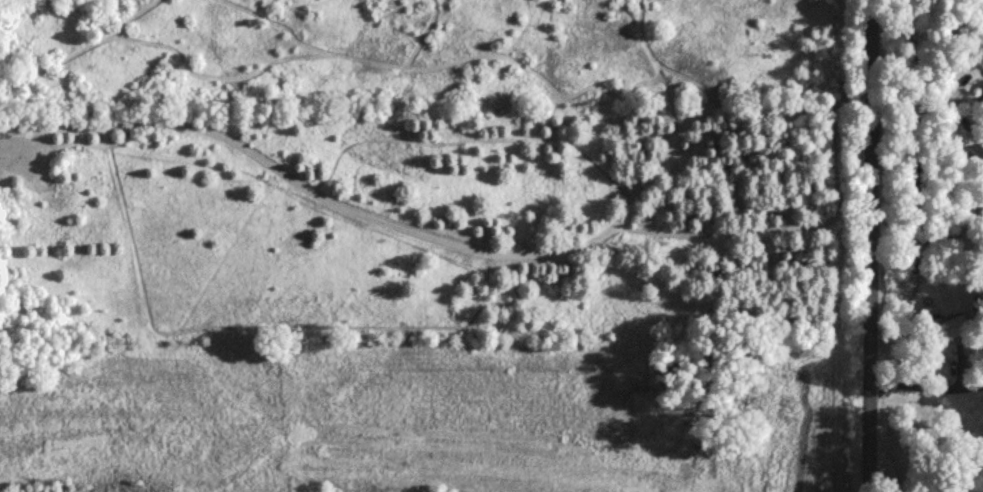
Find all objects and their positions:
building: (954, 134)
road: (865, 246)
building: (951, 328)
road: (923, 386)

